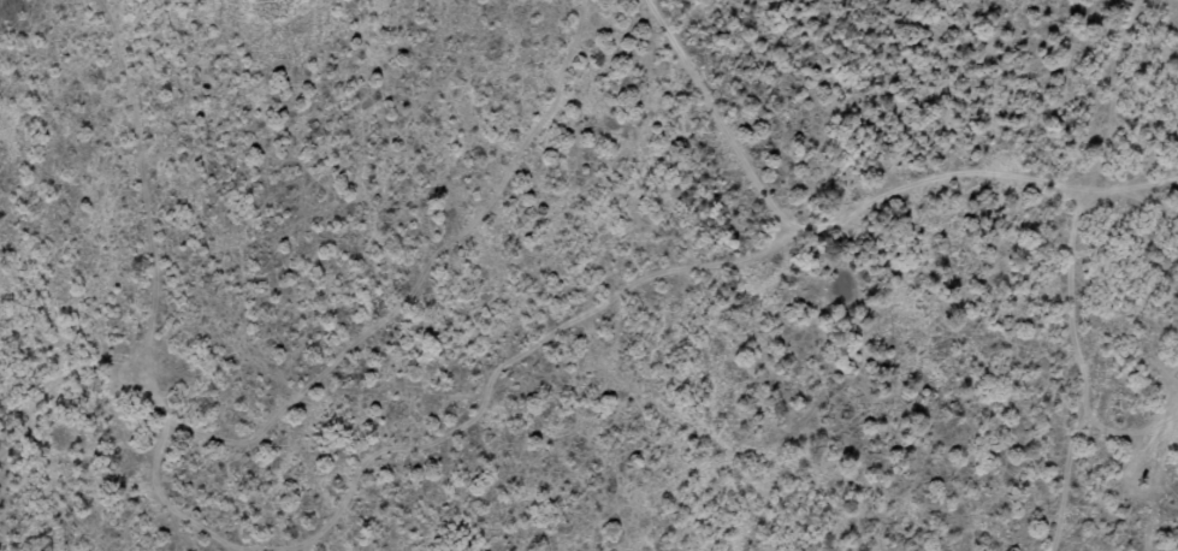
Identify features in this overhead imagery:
road: (705, 239)

